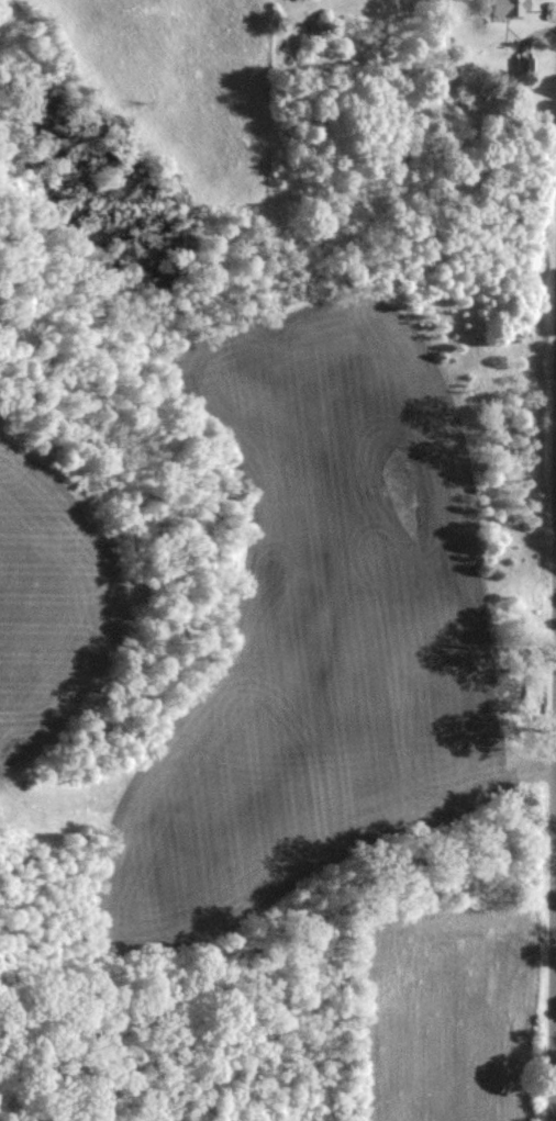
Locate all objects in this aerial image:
building: (505, 9)
building: (524, 67)

